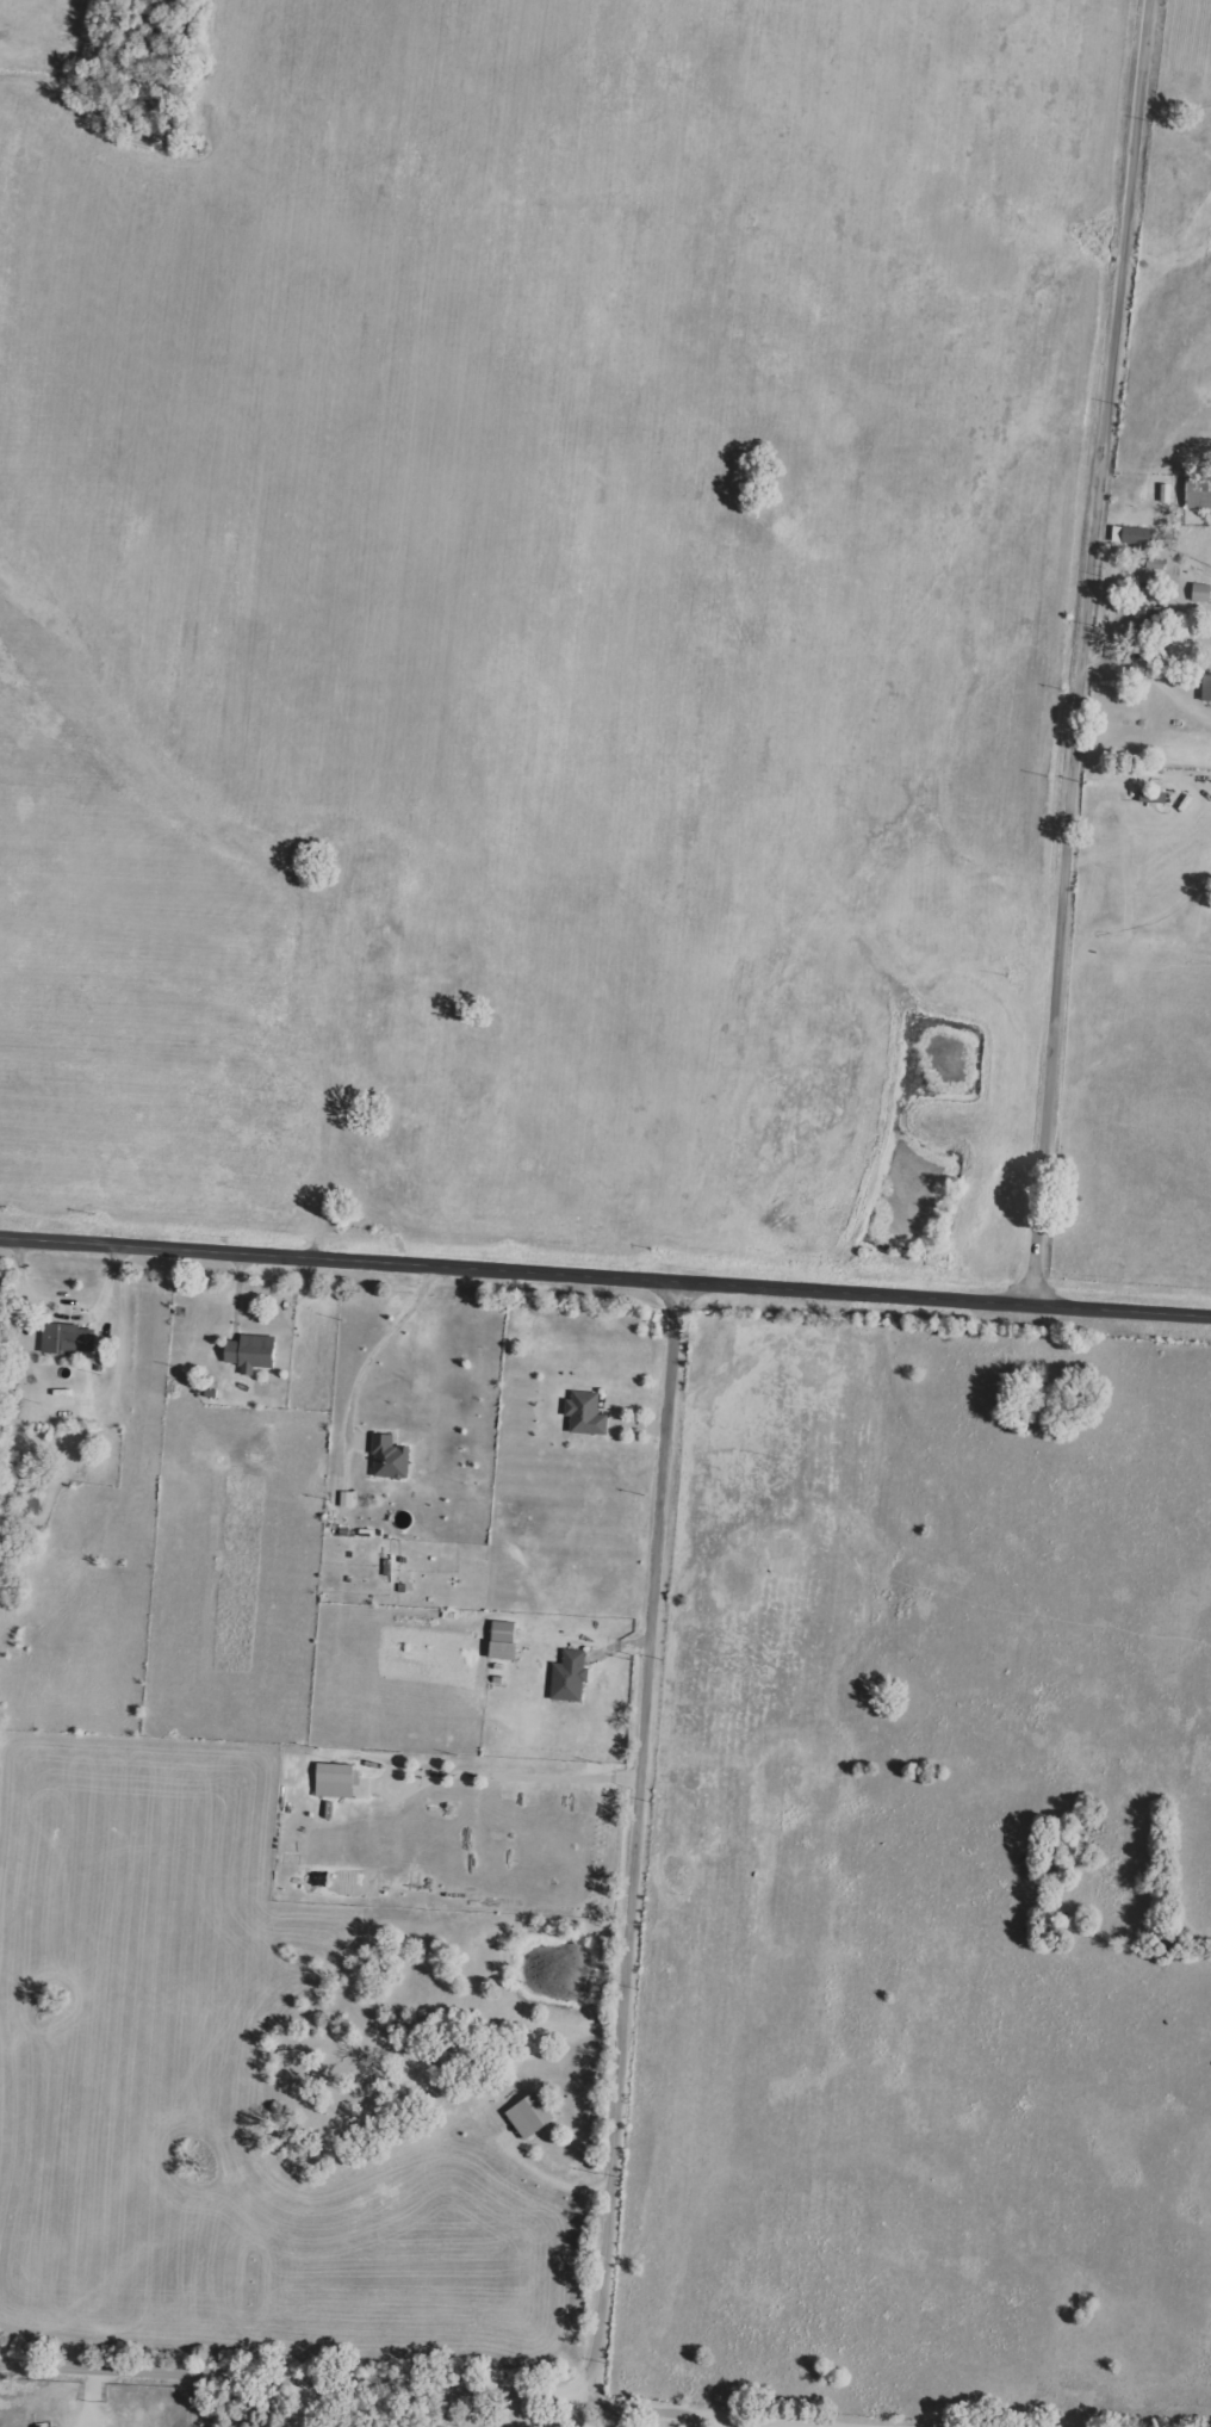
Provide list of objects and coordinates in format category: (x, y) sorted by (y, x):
building: (1198, 491)
building: (1131, 535)
building: (1155, 564)
building: (1148, 618)
road: (1101, 651)
road: (605, 1275)
road: (64, 1315)
building: (68, 1338)
road: (379, 1345)
building: (251, 1352)
building: (586, 1413)
building: (390, 1457)
building: (346, 1499)
building: (504, 1641)
building: (570, 1677)
road: (516, 1772)
building: (336, 1779)
road: (628, 1833)
building: (530, 2116)
road: (547, 2179)
road: (293, 2375)
road: (286, 2401)
road: (740, 2416)
road: (698, 2421)
road: (728, 2421)

